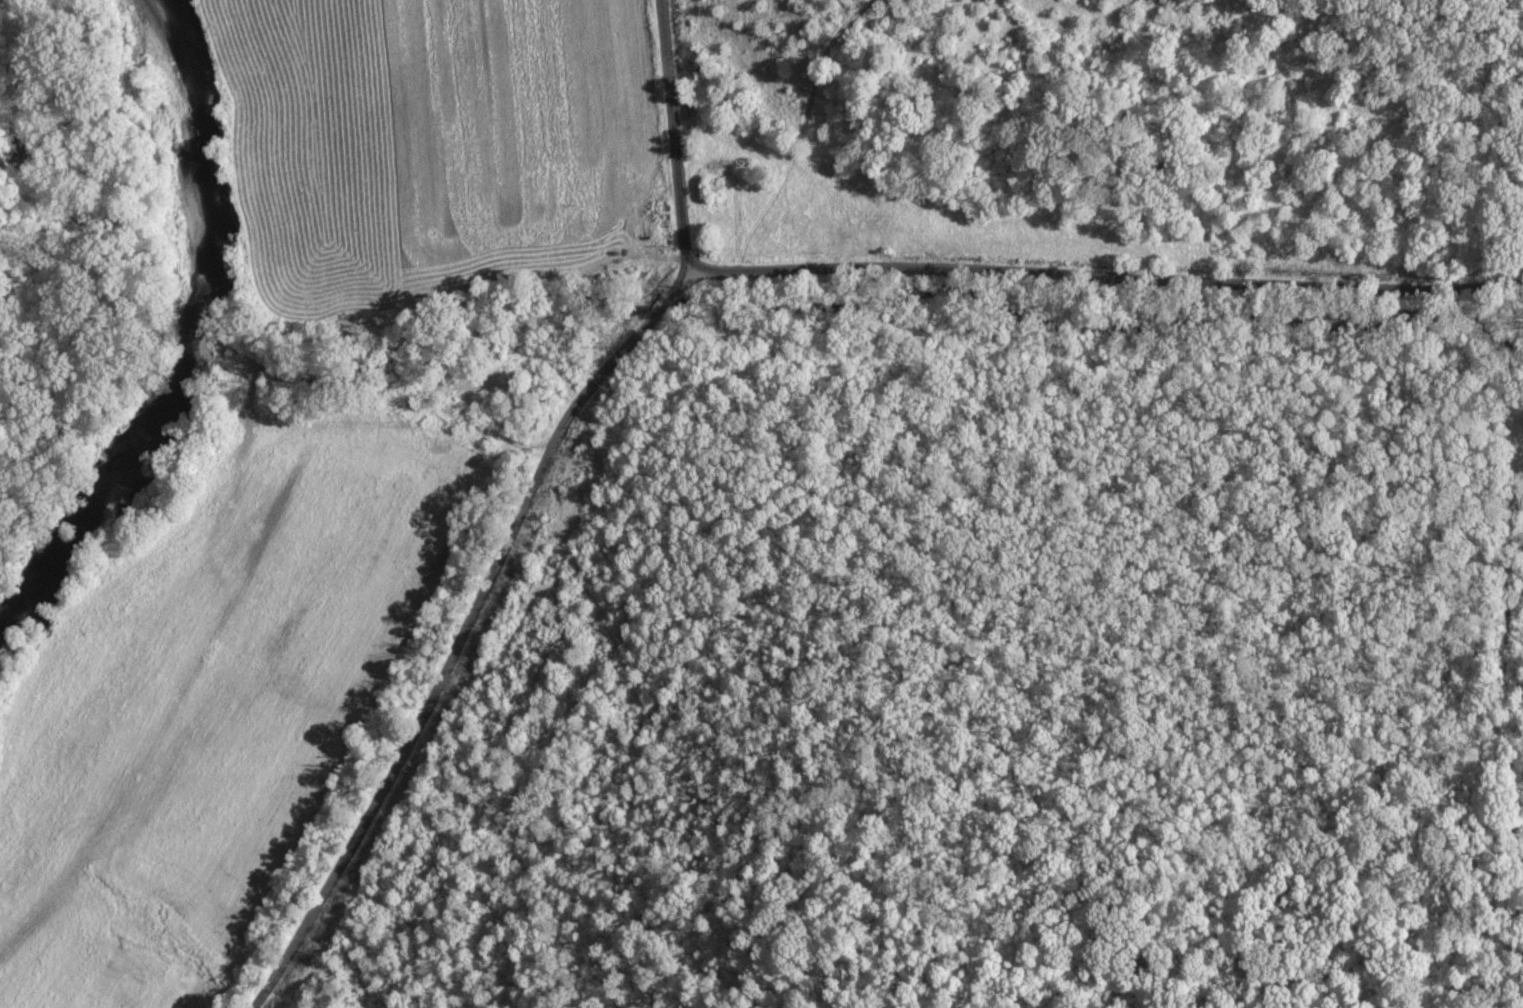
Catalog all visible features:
road: (673, 138)
road: (1105, 274)
road: (461, 635)

